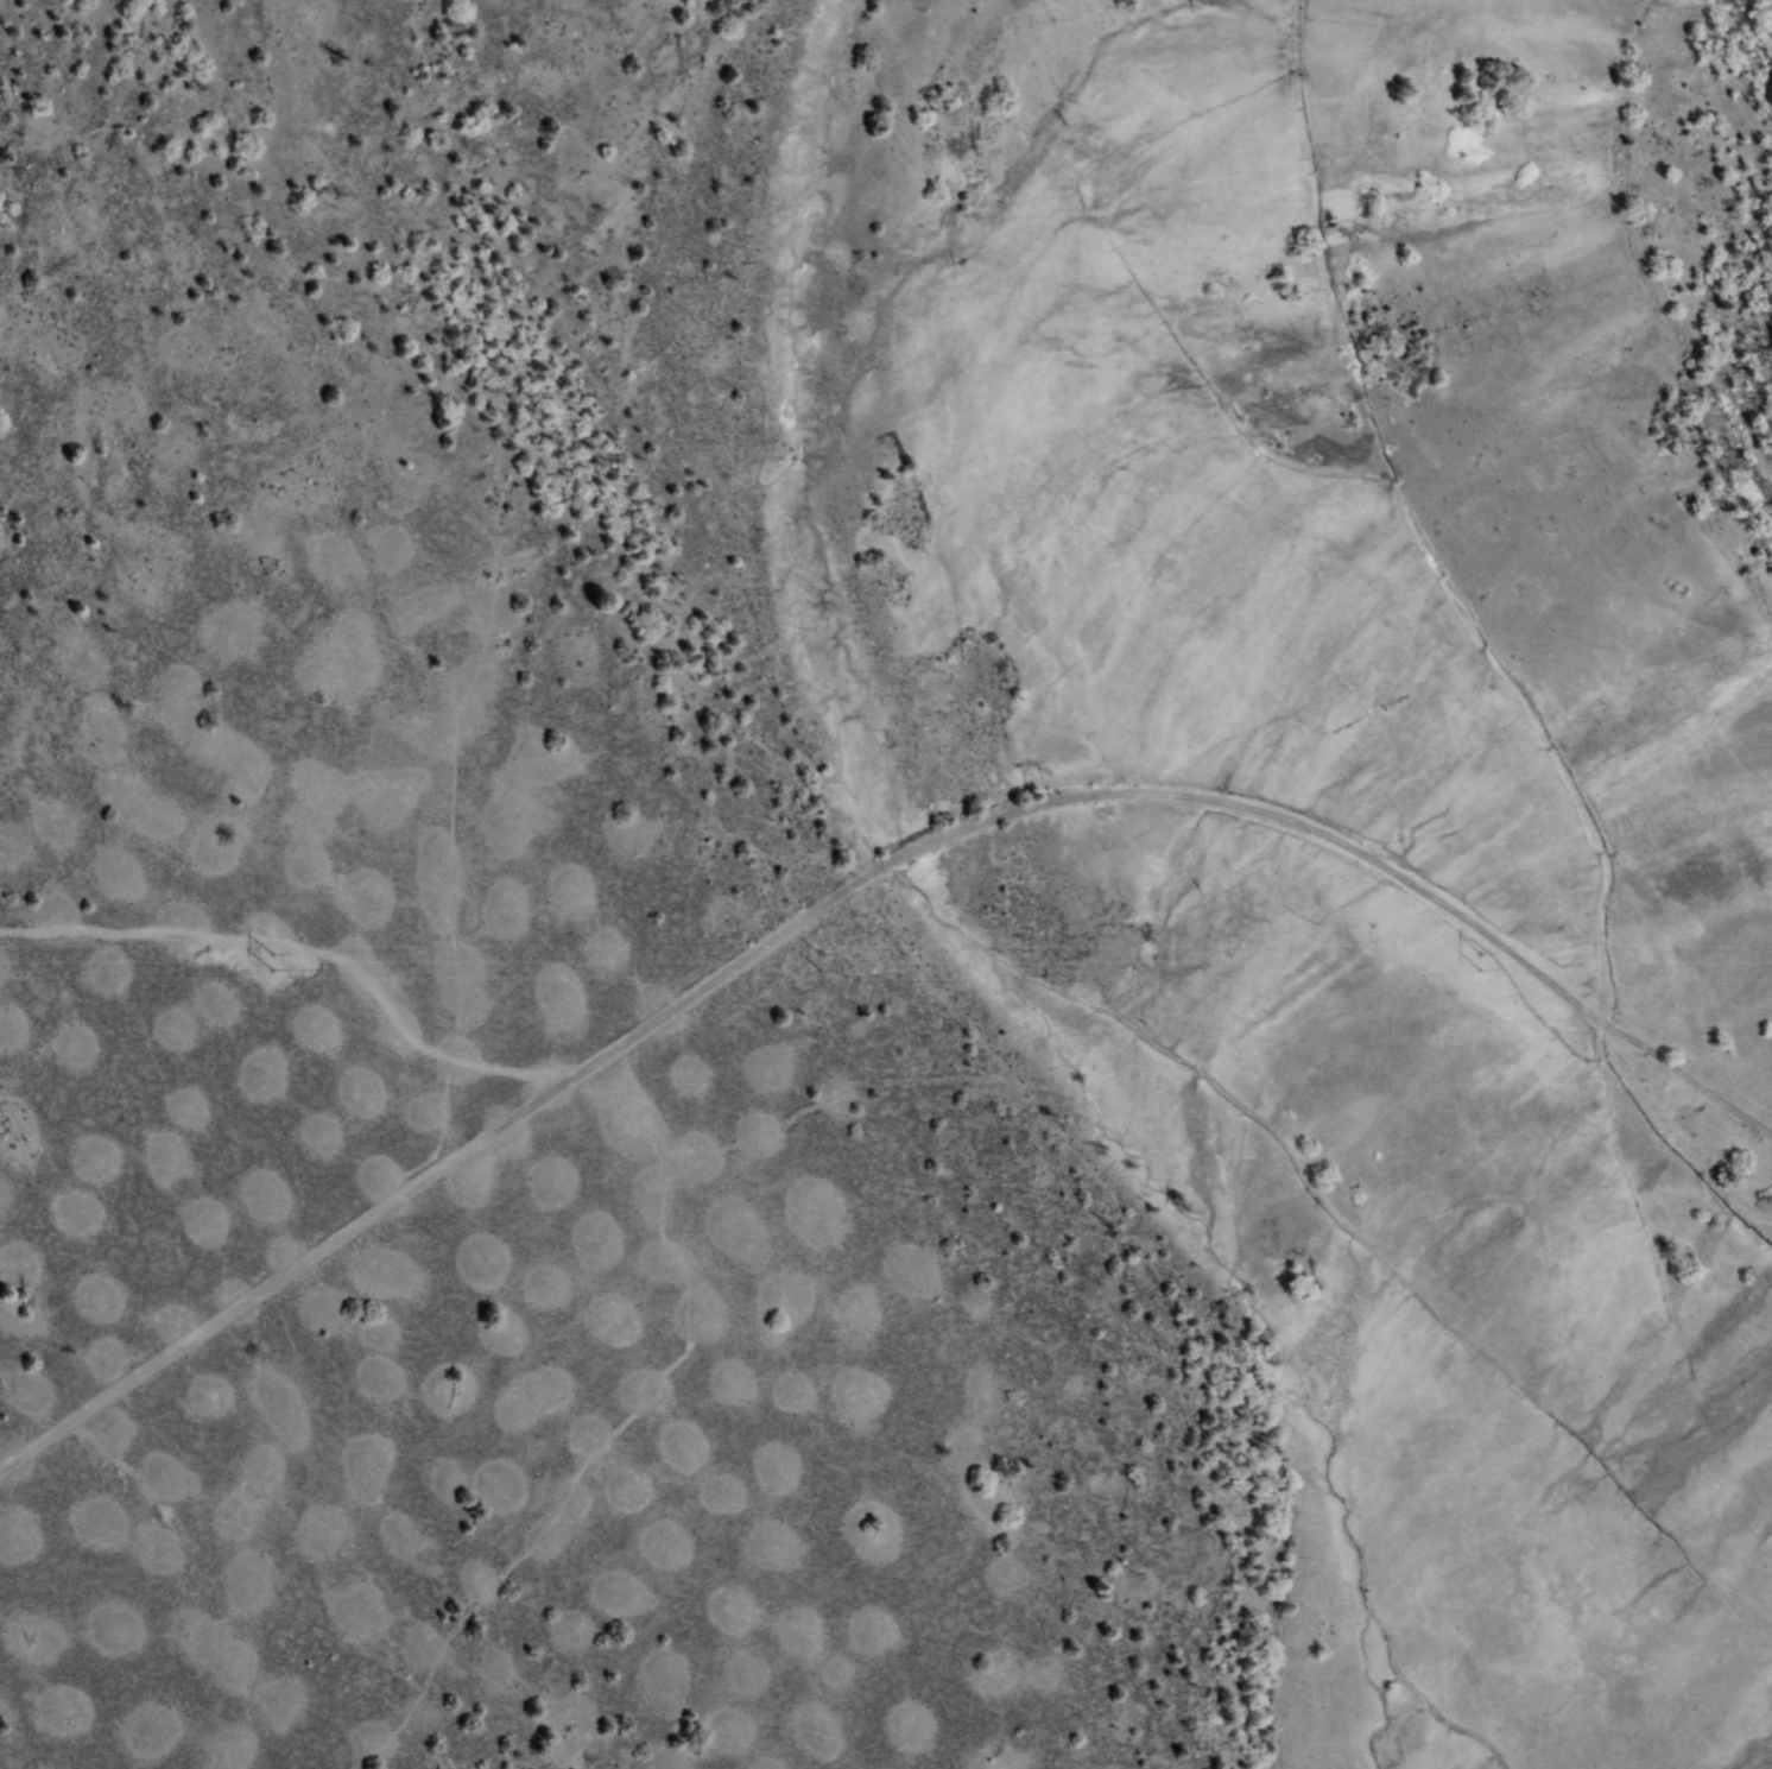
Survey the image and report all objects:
power tower: (1480, 955)
power tower: (819, 956)
power tower: (271, 958)

